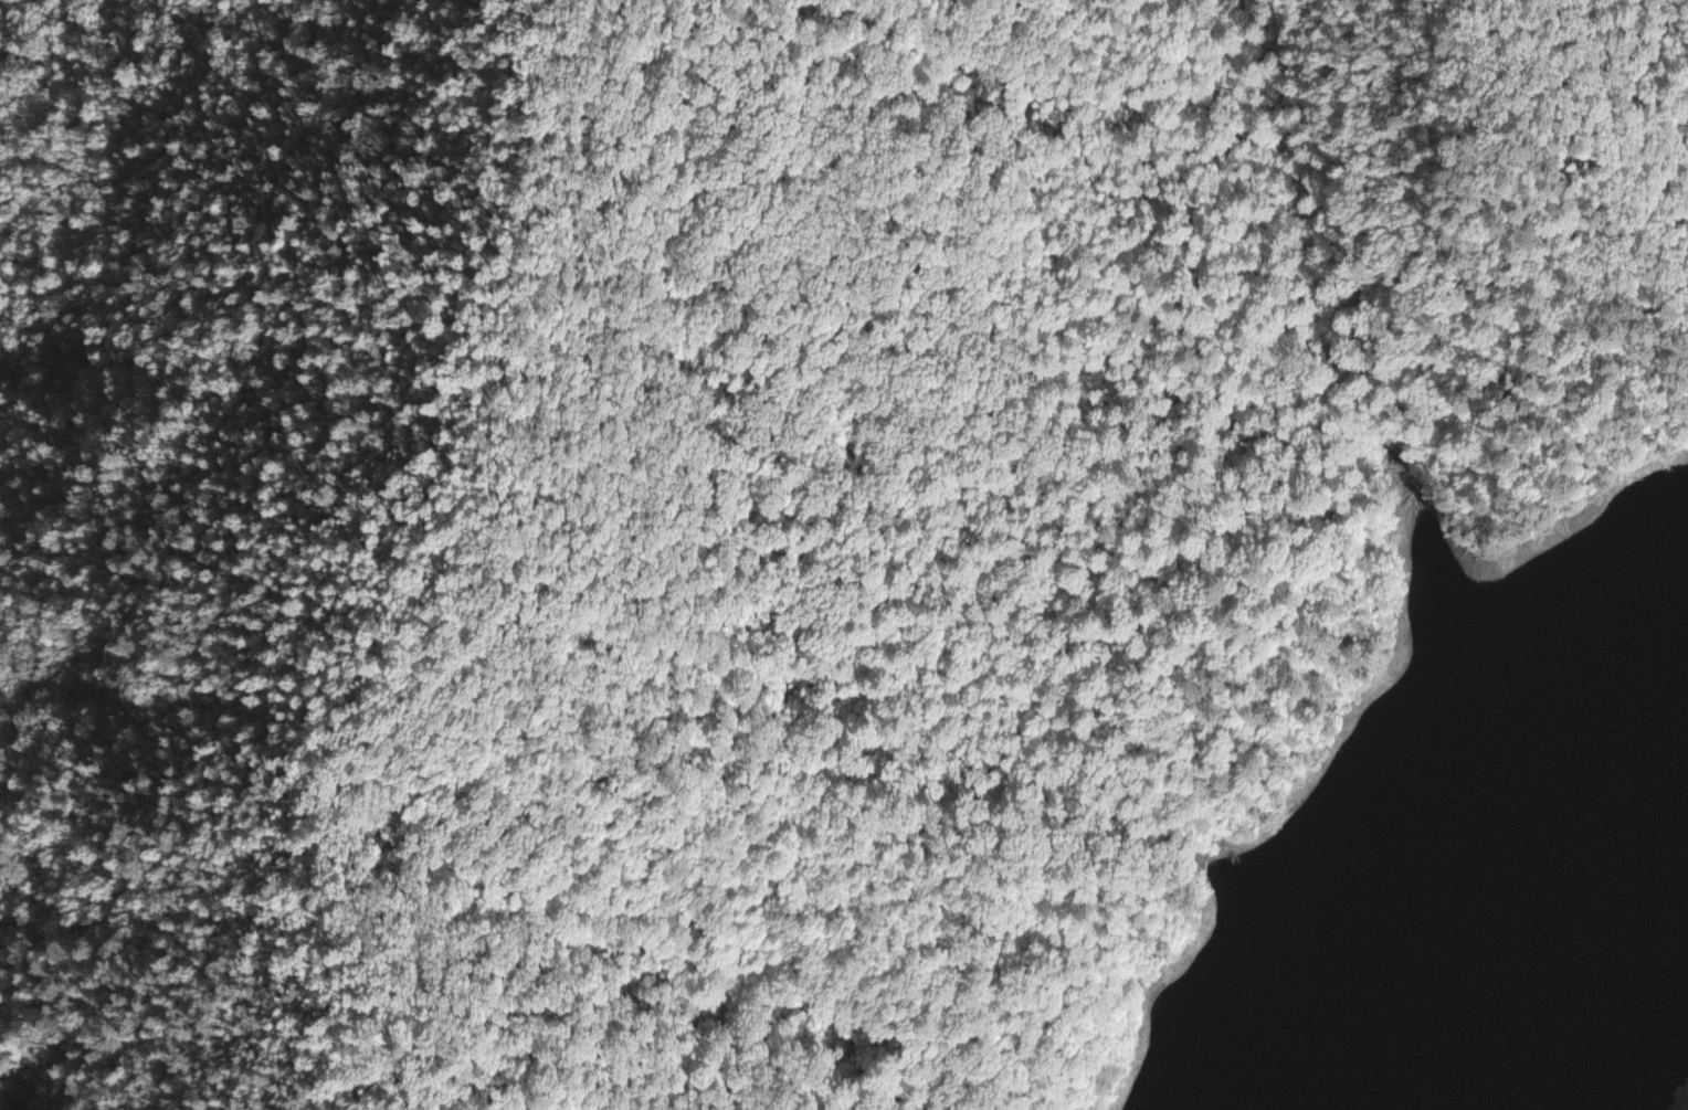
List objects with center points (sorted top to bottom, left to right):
river: (1541, 928)

